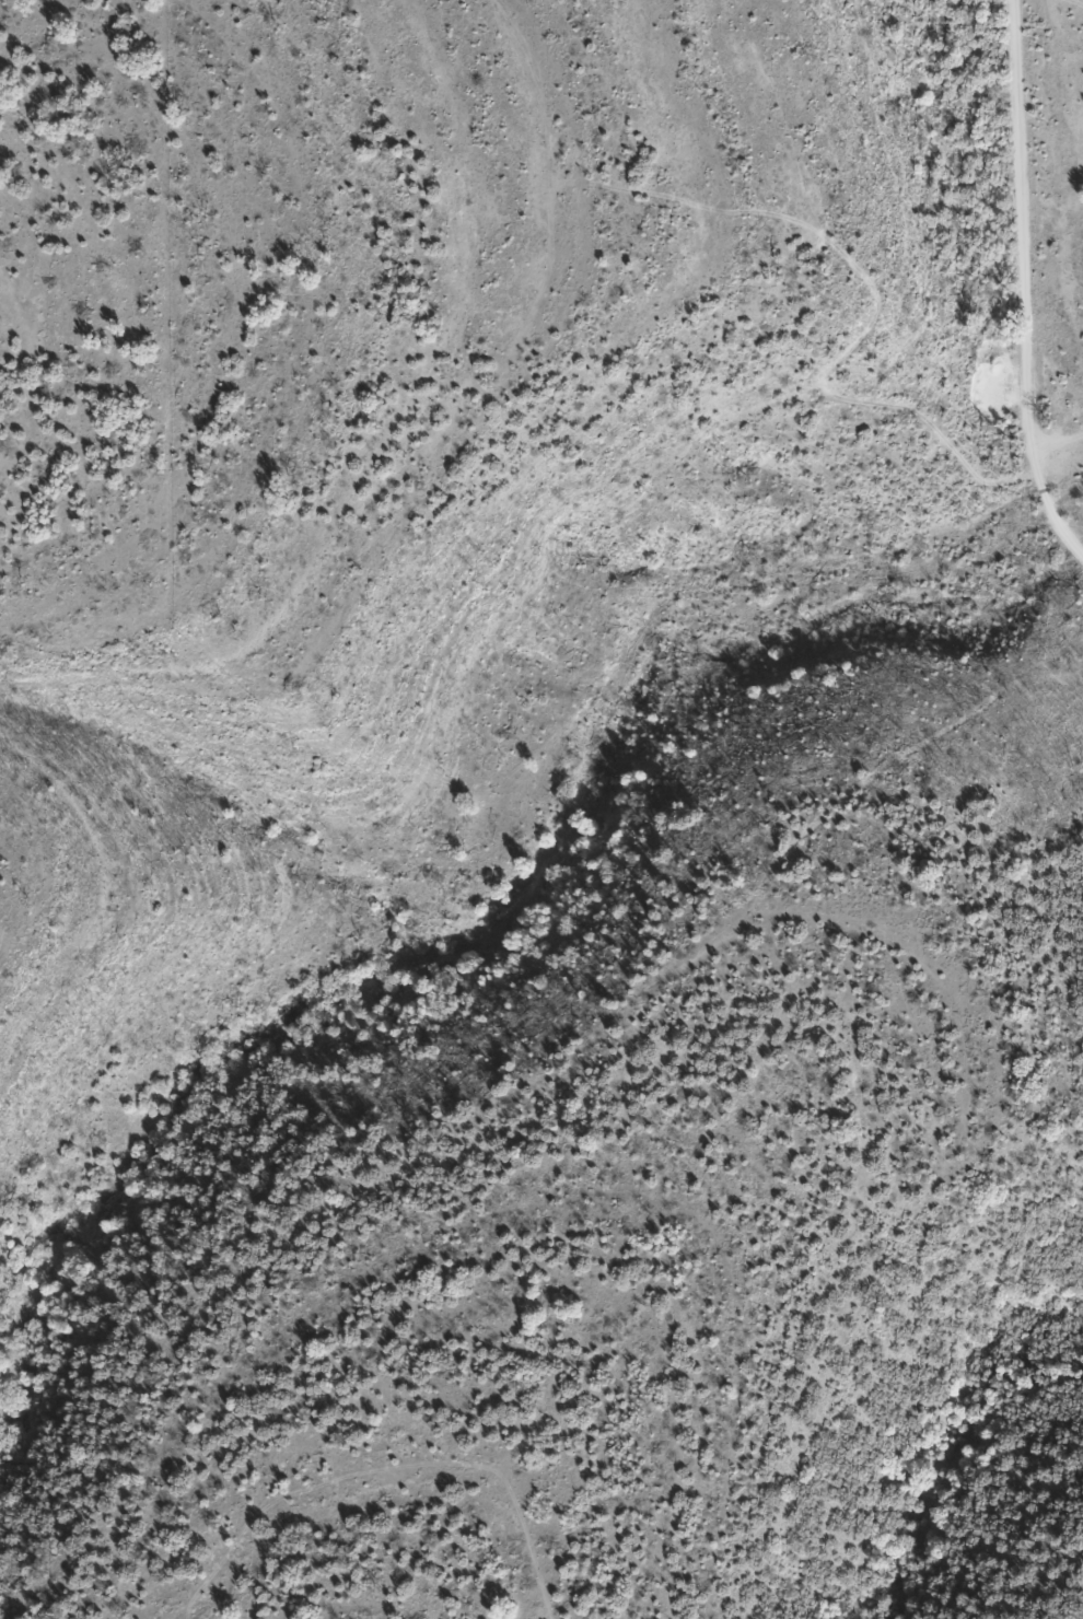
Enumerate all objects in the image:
road: (1027, 294)

